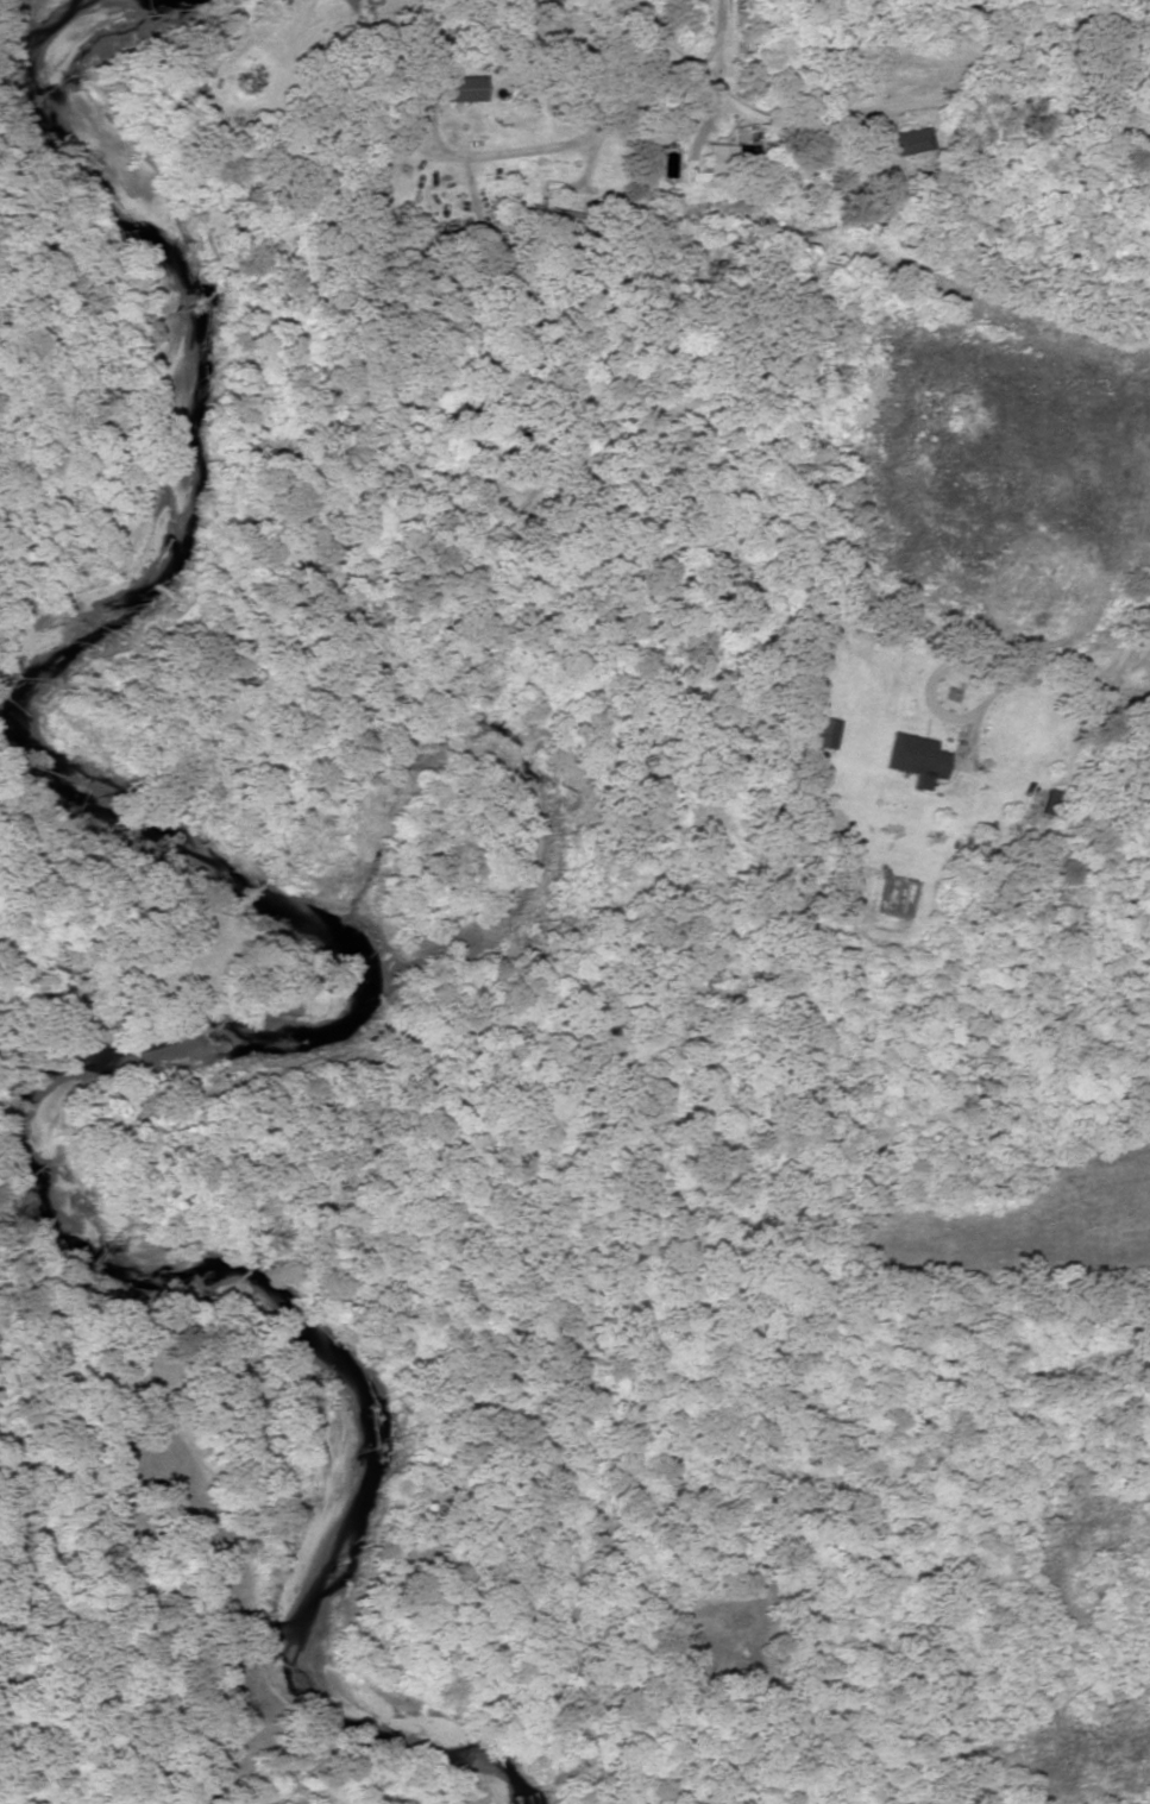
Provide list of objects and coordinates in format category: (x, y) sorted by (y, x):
building: (459, 90)
road: (874, 102)
building: (907, 143)
building: (719, 163)
building: (821, 734)
building: (915, 756)
building: (1051, 804)

